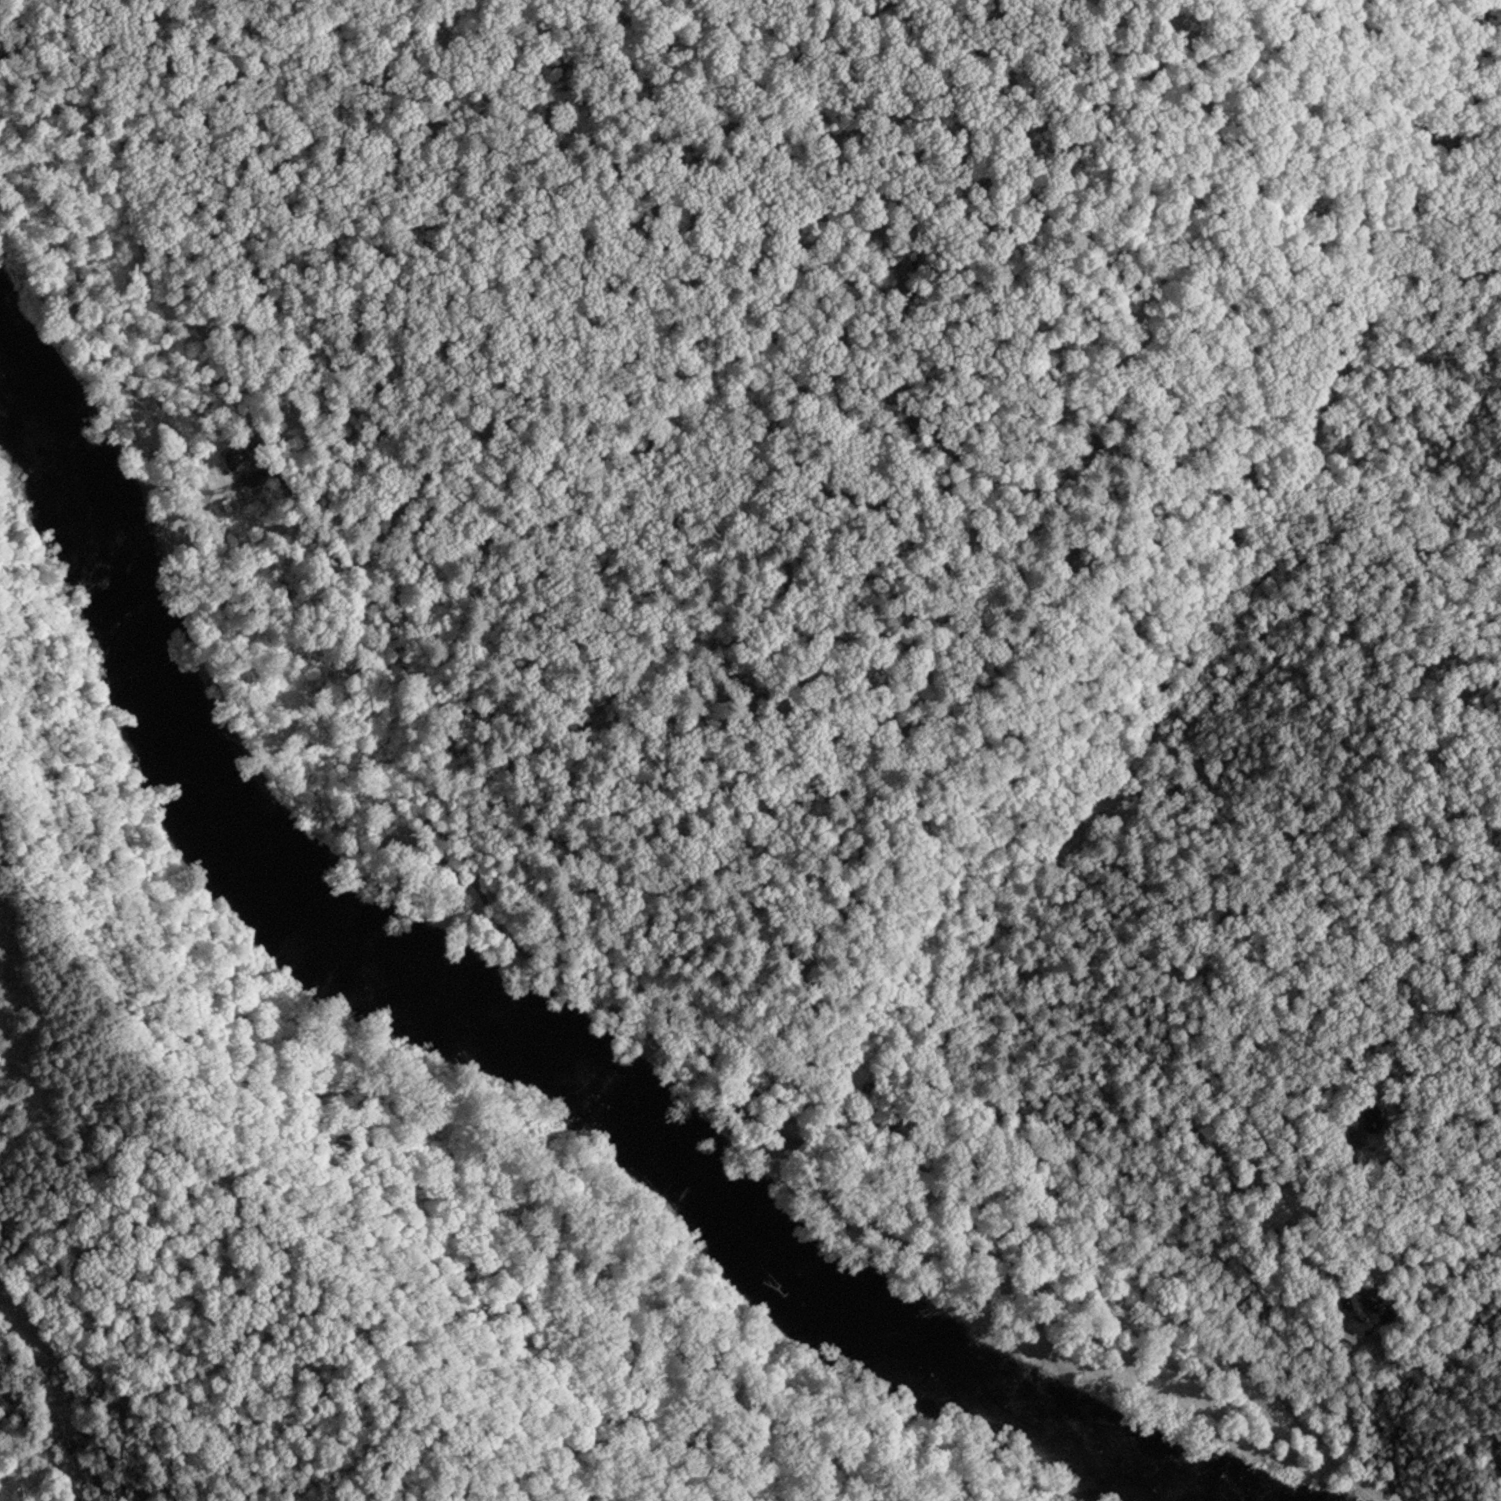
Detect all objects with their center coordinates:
building: (234, 457)
road: (560, 916)
river: (488, 1069)

